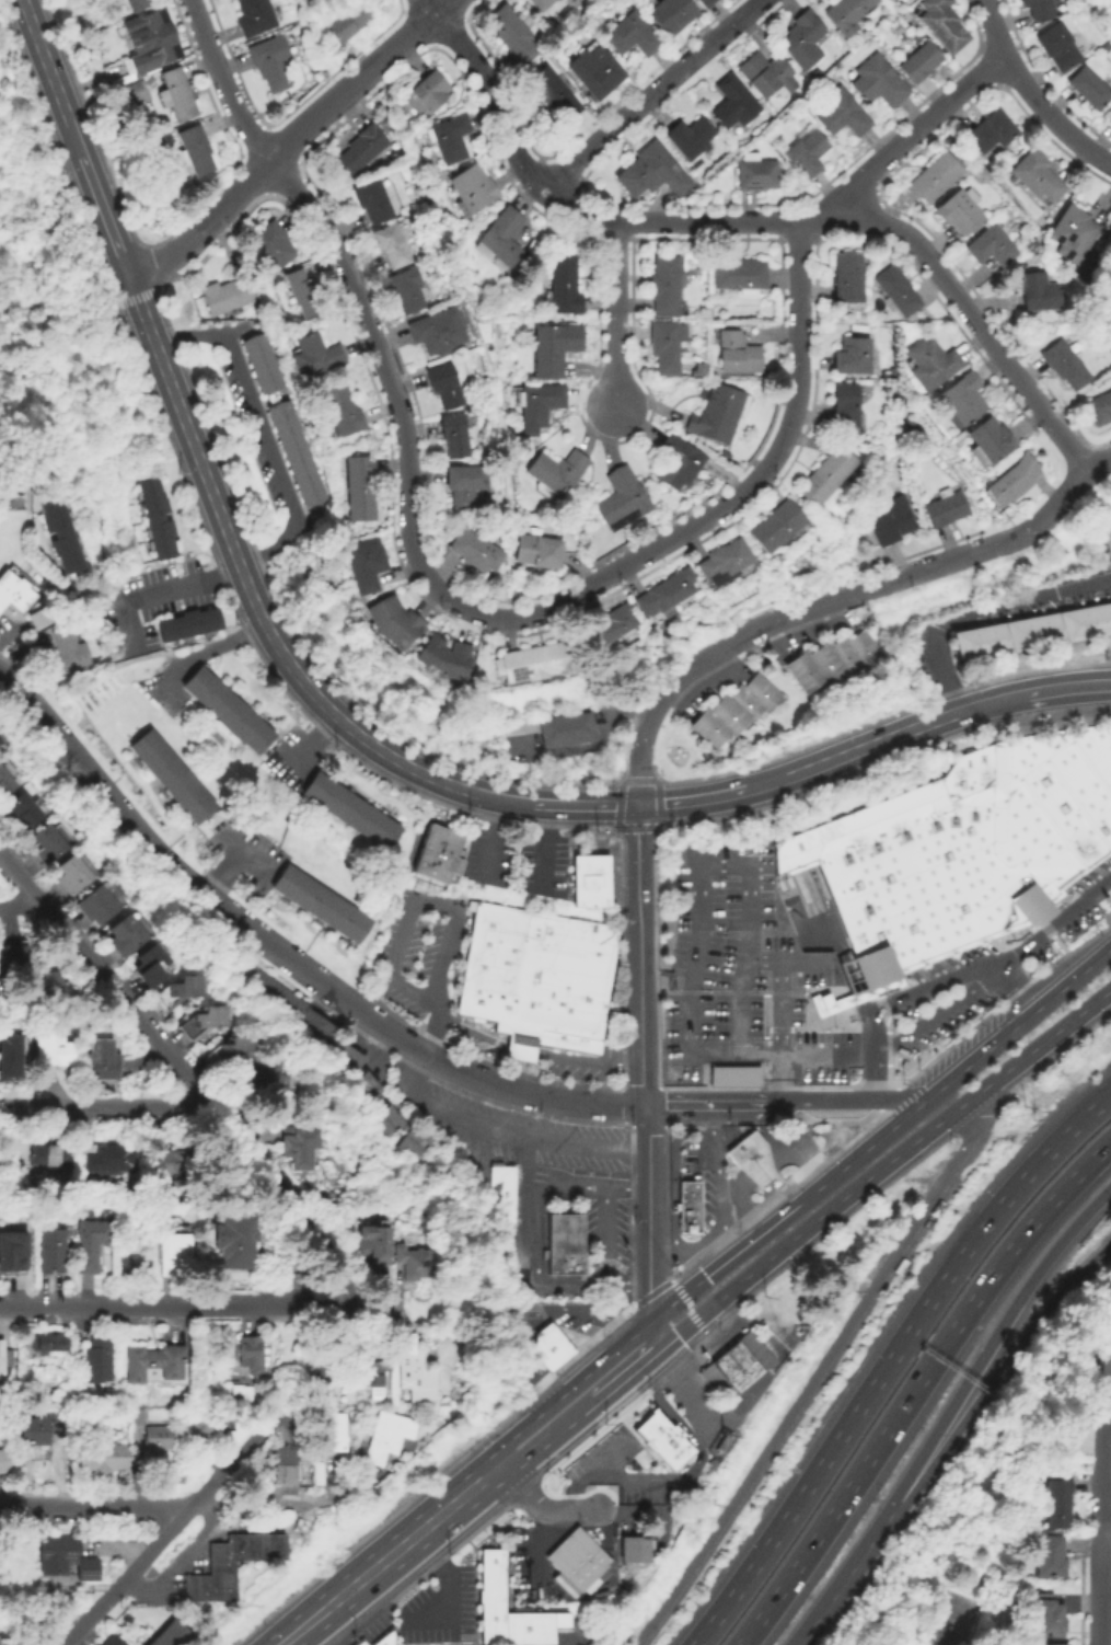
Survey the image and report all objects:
building: (1109, 1)
building: (705, 3)
building: (137, 4)
building: (539, 4)
building: (1032, 9)
building: (1110, 12)
building: (672, 15)
building: (847, 15)
building: (253, 18)
building: (347, 21)
building: (942, 24)
building: (512, 35)
building: (630, 36)
building: (151, 42)
building: (802, 42)
building: (1051, 45)
building: (269, 64)
building: (921, 64)
building: (594, 73)
building: (766, 77)
building: (813, 77)
building: (878, 83)
road: (224, 84)
building: (1083, 88)
road: (486, 89)
road: (651, 93)
building: (132, 95)
building: (426, 95)
road: (1033, 95)
road: (20, 96)
building: (176, 96)
building: (553, 97)
building: (733, 104)
building: (840, 114)
building: (1107, 115)
building: (983, 130)
road: (916, 137)
road: (72, 138)
building: (449, 140)
building: (688, 140)
road: (288, 143)
building: (360, 150)
building: (195, 152)
building: (807, 153)
building: (651, 174)
building: (756, 174)
building: (928, 176)
building: (1030, 176)
building: (471, 192)
building: (371, 203)
building: (954, 211)
road: (678, 222)
building: (1065, 234)
building: (500, 240)
building: (987, 244)
building: (270, 248)
building: (390, 248)
road: (33, 250)
building: (1107, 264)
building: (740, 276)
building: (844, 276)
building: (563, 285)
building: (664, 286)
road: (130, 288)
road: (951, 289)
building: (890, 290)
building: (405, 292)
building: (1033, 292)
building: (300, 297)
building: (223, 298)
road: (125, 302)
road: (14, 310)
road: (617, 314)
building: (436, 333)
building: (252, 344)
building: (667, 346)
building: (554, 349)
building: (737, 353)
building: (853, 357)
building: (315, 359)
building: (258, 361)
building: (925, 363)
building: (1058, 363)
building: (698, 370)
building: (265, 379)
building: (1110, 380)
building: (887, 386)
building: (442, 387)
building: (956, 398)
building: (539, 403)
building: (847, 406)
building: (1096, 407)
building: (278, 410)
building: (343, 412)
building: (719, 415)
building: (285, 426)
building: (453, 436)
building: (980, 440)
building: (291, 442)
road: (1067, 445)
building: (298, 459)
building: (679, 462)
road: (1100, 468)
building: (557, 471)
building: (304, 475)
building: (829, 476)
building: (1006, 481)
building: (359, 483)
building: (463, 486)
building: (311, 493)
building: (623, 499)
building: (939, 507)
road: (291, 511)
road: (1045, 517)
building: (157, 520)
building: (888, 524)
building: (780, 526)
building: (61, 533)
building: (1101, 536)
building: (537, 551)
building: (475, 552)
building: (728, 564)
building: (366, 567)
road: (929, 568)
road: (247, 593)
building: (14, 594)
building: (669, 594)
road: (975, 609)
building: (39, 616)
road: (517, 618)
building: (396, 624)
building: (190, 625)
building: (613, 629)
building: (1026, 632)
road: (753, 633)
building: (65, 654)
road: (205, 656)
building: (445, 658)
building: (836, 664)
building: (531, 665)
road: (1068, 683)
road: (991, 699)
building: (229, 713)
building: (738, 713)
building: (589, 727)
building: (516, 728)
building: (576, 729)
building: (562, 733)
building: (547, 735)
road: (873, 740)
road: (308, 748)
building: (328, 750)
road: (638, 751)
road: (589, 754)
building: (173, 779)
road: (773, 780)
building: (5, 784)
road: (694, 796)
road: (504, 797)
road: (585, 802)
traffic signals: (637, 803)
building: (20, 814)
building: (351, 814)
road: (490, 838)
road: (149, 845)
road: (543, 845)
building: (46, 848)
building: (963, 848)
building: (435, 853)
road: (243, 854)
road: (701, 868)
road: (220, 874)
building: (72, 877)
building: (588, 879)
road: (412, 901)
building: (322, 906)
road: (19, 907)
building: (97, 907)
building: (127, 937)
road: (1032, 939)
road: (840, 950)
road: (640, 953)
building: (14, 963)
building: (149, 964)
road: (787, 964)
parking lot: (993, 967)
road: (1084, 971)
building: (539, 980)
building: (748, 980)
parking lot: (748, 980)
road: (670, 985)
building: (53, 991)
building: (181, 991)
road: (766, 993)
building: (290, 1011)
building: (206, 1025)
road: (470, 1032)
road: (780, 1032)
road: (873, 1040)
building: (53, 1049)
building: (233, 1051)
road: (799, 1052)
road: (985, 1052)
road: (522, 1054)
building: (7, 1056)
building: (352, 1057)
building: (102, 1061)
road: (571, 1062)
building: (345, 1067)
road: (625, 1067)
road: (183, 1073)
road: (474, 1077)
road: (873, 1078)
building: (266, 1080)
building: (370, 1084)
building: (359, 1092)
road: (850, 1098)
road: (714, 1105)
road: (117, 1108)
road: (15, 1109)
building: (393, 1119)
road: (478, 1125)
building: (383, 1127)
road: (656, 1136)
building: (419, 1139)
building: (299, 1146)
building: (412, 1149)
road: (802, 1155)
building: (47, 1157)
building: (754, 1158)
building: (113, 1159)
road: (521, 1160)
building: (175, 1162)
road: (762, 1169)
road: (882, 1169)
road: (674, 1174)
road: (720, 1182)
road: (583, 1185)
road: (727, 1192)
building: (501, 1196)
building: (325, 1198)
road: (737, 1204)
building: (692, 1206)
building: (135, 1213)
road: (777, 1219)
road: (647, 1221)
road: (605, 1234)
building: (236, 1242)
building: (377, 1243)
building: (91, 1244)
building: (563, 1245)
road: (690, 1250)
building: (14, 1251)
building: (51, 1251)
building: (177, 1255)
building: (416, 1263)
building: (131, 1266)
road: (542, 1279)
road: (199, 1307)
road: (688, 1308)
road: (530, 1312)
road: (1109, 1336)
building: (51, 1344)
road: (986, 1344)
building: (546, 1346)
building: (251, 1355)
road: (629, 1357)
road: (889, 1358)
building: (5, 1359)
building: (97, 1360)
building: (155, 1362)
building: (730, 1367)
building: (421, 1374)
building: (374, 1376)
road: (818, 1376)
road: (994, 1380)
road: (914, 1384)
road: (597, 1385)
road: (568, 1389)
building: (247, 1394)
road: (699, 1404)
building: (137, 1419)
building: (38, 1429)
building: (201, 1429)
building: (338, 1433)
road: (1102, 1434)
building: (392, 1436)
building: (157, 1440)
building: (661, 1440)
building: (720, 1440)
park: (1035, 1449)
building: (107, 1457)
building: (5, 1462)
building: (287, 1465)
road: (993, 1465)
building: (321, 1473)
road: (691, 1473)
road: (215, 1480)
road: (358, 1485)
road: (456, 1502)
building: (1060, 1503)
road: (264, 1504)
road: (541, 1506)
road: (93, 1509)
road: (1107, 1533)
building: (236, 1545)
building: (262, 1545)
building: (274, 1545)
building: (287, 1545)
building: (630, 1545)
building: (248, 1546)
building: (572, 1554)
building: (1050, 1555)
building: (67, 1558)
building: (227, 1568)
road: (445, 1585)
road: (842, 1585)
building: (207, 1588)
road: (1101, 1589)
building: (510, 1609)
parking lot: (437, 1612)
park: (950, 1618)
building: (1049, 1619)
road: (303, 1626)
building: (5, 1627)
parking lot: (367, 1627)
building: (178, 1635)
building: (381, 1637)
building: (113, 1641)
building: (358, 1642)
road: (568, 1644)
building: (1057, 1644)

